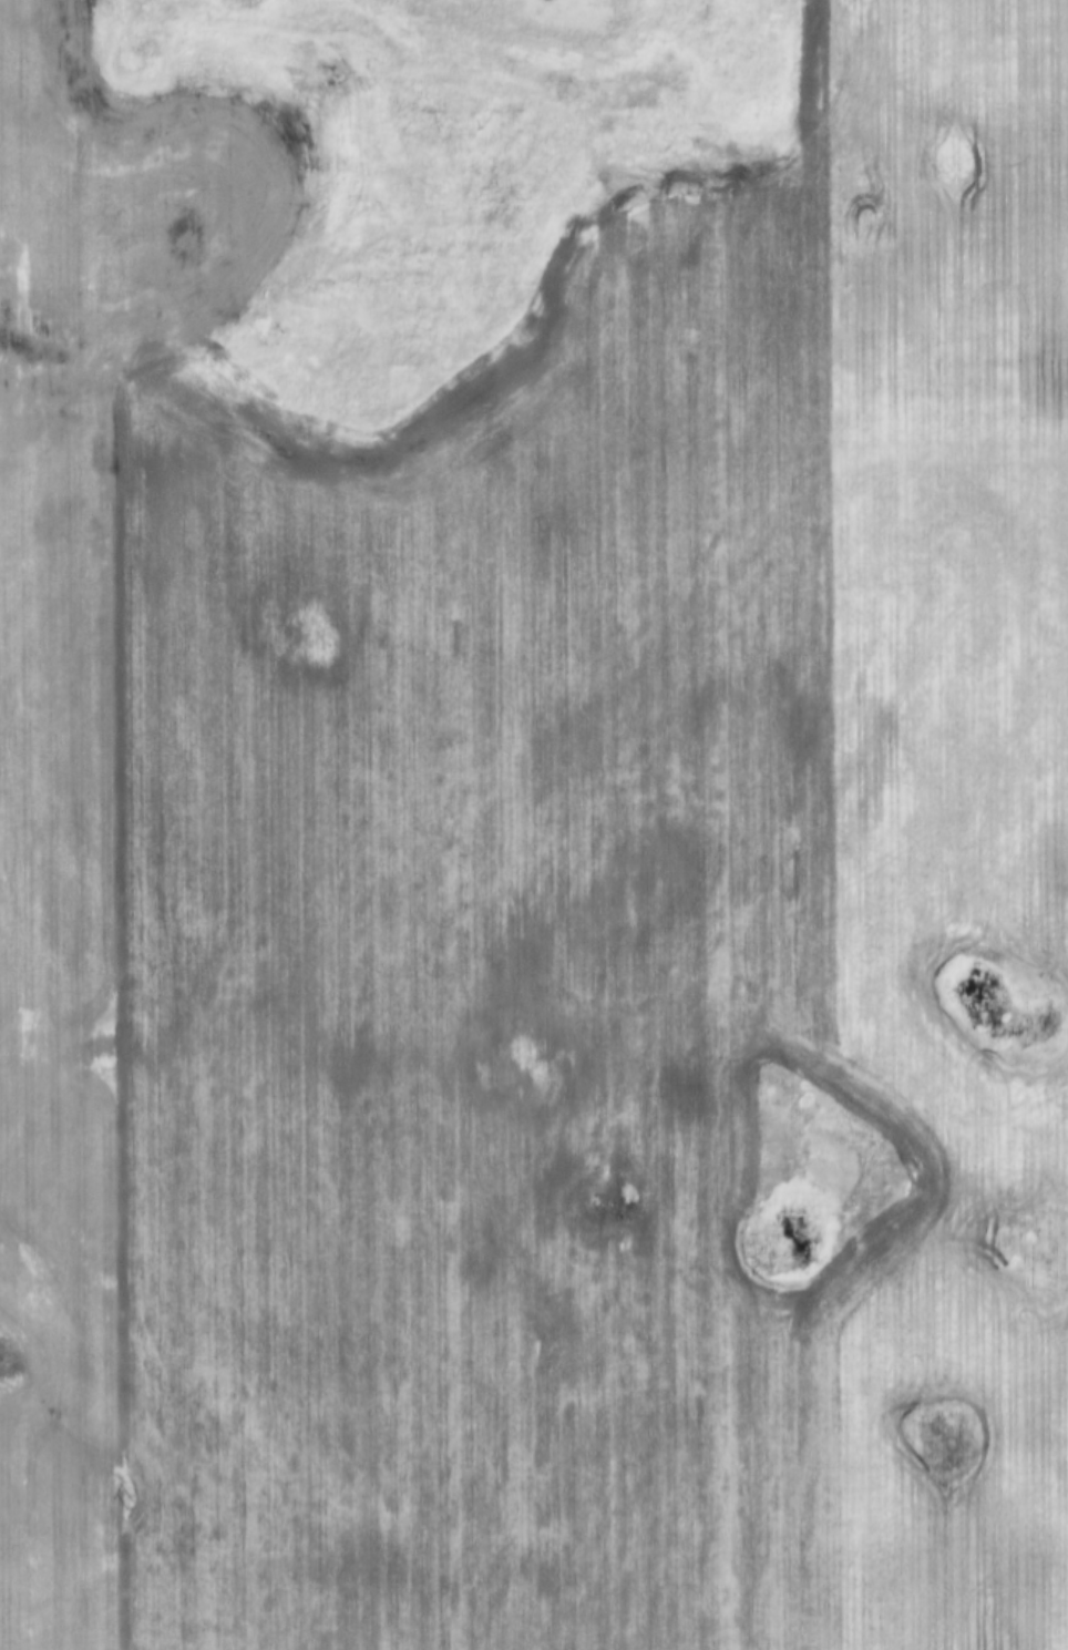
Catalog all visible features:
power tower: (127, 1504)

